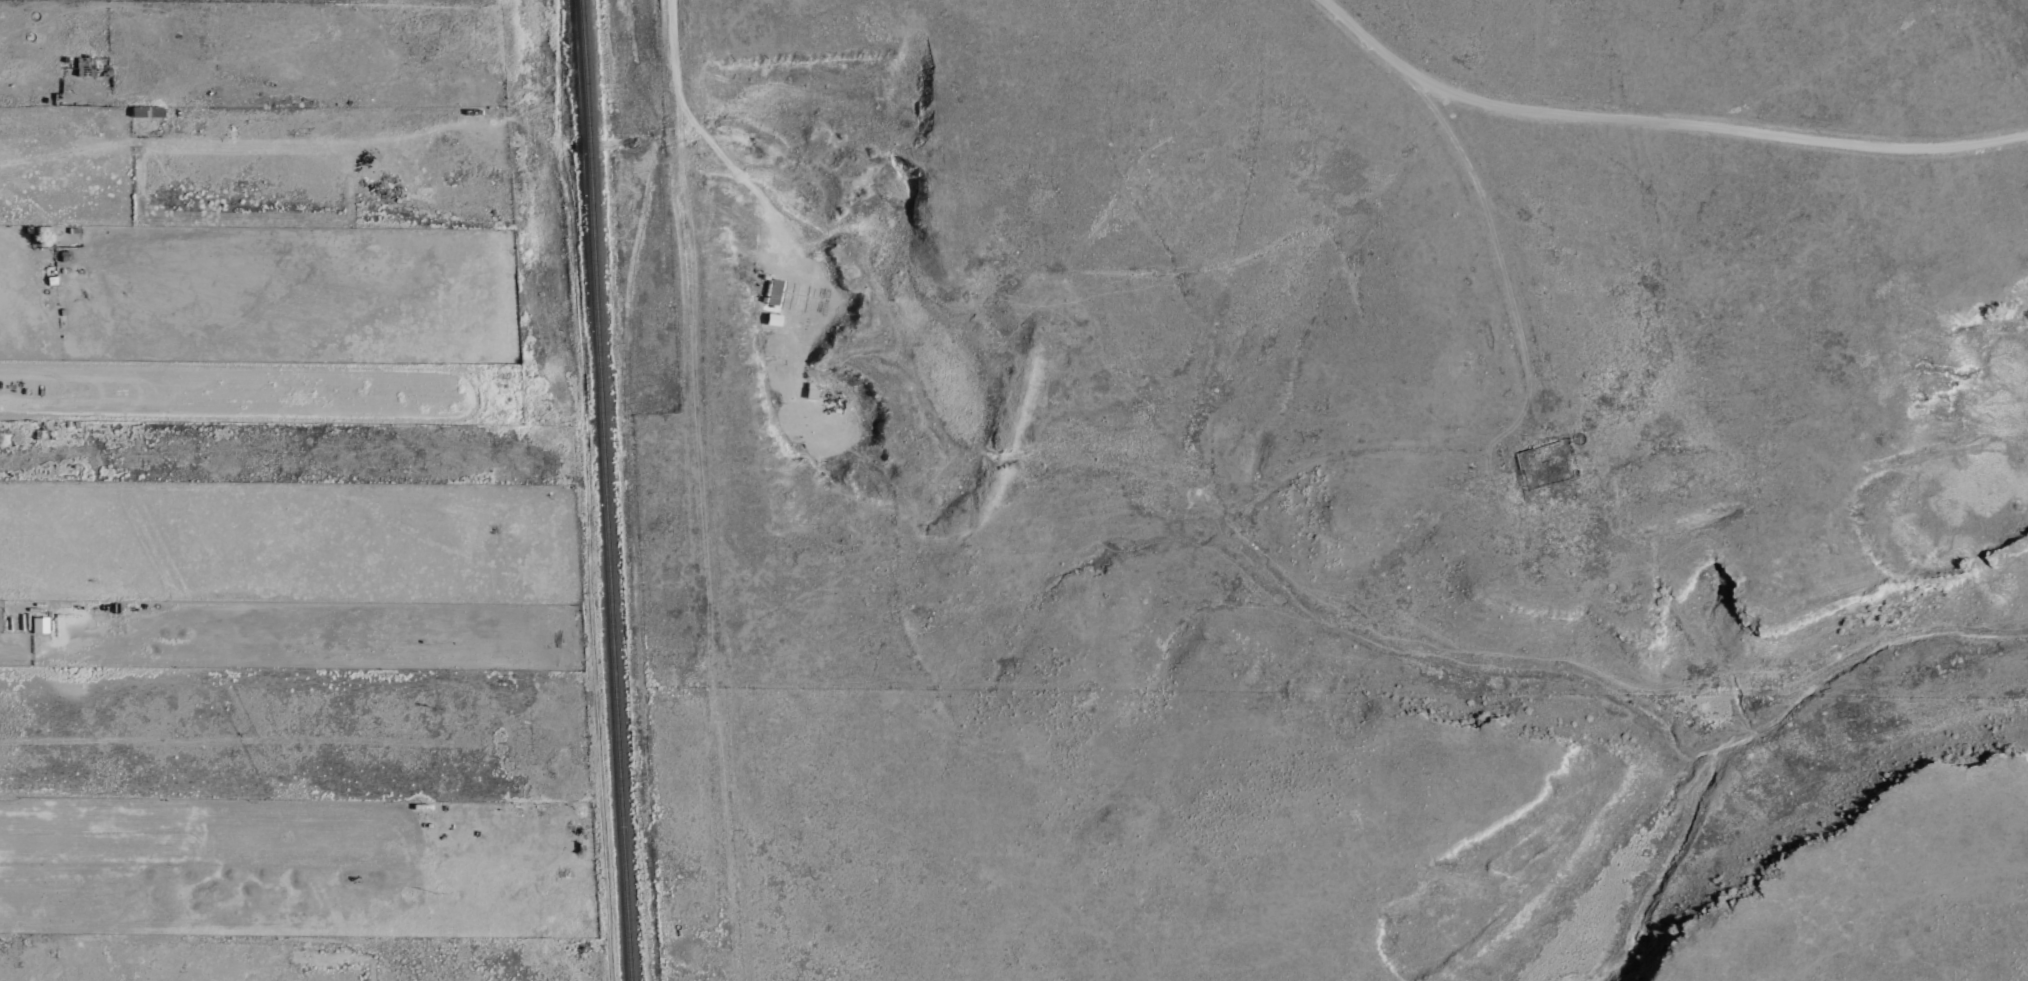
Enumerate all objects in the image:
building: (144, 112)
railway: (608, 490)
building: (38, 625)

